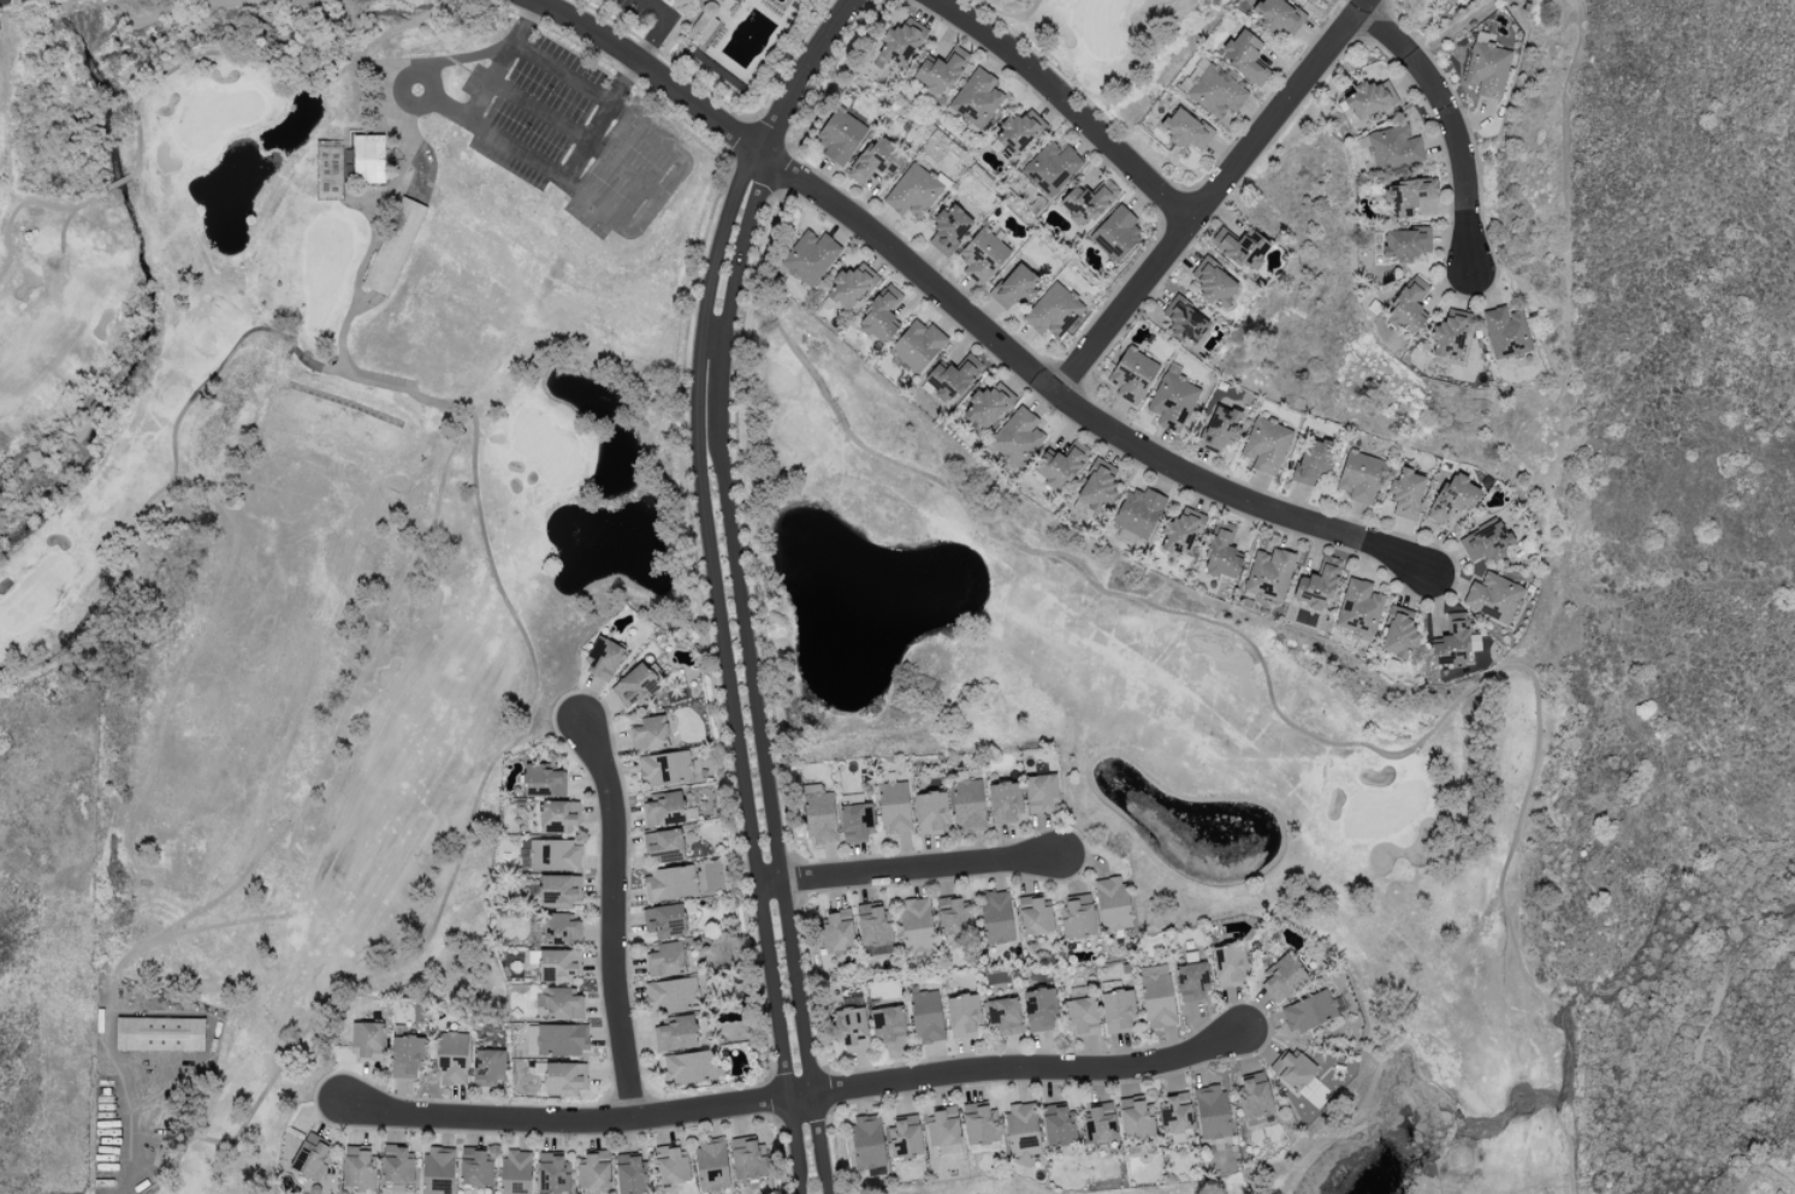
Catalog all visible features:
building: (1313, 0)
building: (1452, 0)
building: (1278, 16)
building: (703, 22)
road: (663, 26)
building: (901, 42)
park: (1192, 65)
building: (1486, 66)
road: (648, 69)
road: (800, 71)
building: (940, 71)
road: (559, 73)
road: (399, 90)
building: (1215, 91)
building: (976, 97)
building: (1368, 100)
road: (1068, 105)
road: (449, 108)
road: (540, 109)
road: (1455, 124)
road: (478, 127)
building: (1185, 130)
building: (1019, 131)
building: (840, 136)
road: (667, 137)
road: (409, 148)
building: (1394, 148)
building: (368, 159)
building: (875, 160)
building: (1050, 167)
building: (913, 191)
road: (1213, 196)
building: (1409, 196)
building: (1086, 202)
road: (651, 207)
building: (949, 228)
building: (1115, 231)
building: (1404, 244)
building: (393, 245)
building: (1240, 248)
building: (982, 255)
building: (810, 256)
building: (1214, 283)
building: (851, 285)
building: (1012, 286)
building: (1408, 308)
building: (1053, 310)
building: (879, 315)
building: (1184, 321)
building: (1506, 332)
building: (1449, 337)
building: (917, 345)
building: (1131, 375)
building: (950, 379)
building: (1172, 399)
road: (1072, 403)
building: (988, 405)
building: (1219, 428)
building: (1017, 438)
building: (1264, 445)
building: (1311, 461)
building: (1058, 467)
building: (1358, 476)
building: (1096, 487)
building: (1406, 493)
building: (1452, 498)
building: (1138, 511)
building: (1180, 531)
building: (1485, 542)
building: (1221, 554)
building: (1269, 574)
park: (602, 577)
building: (1317, 584)
building: (1493, 596)
building: (1358, 608)
building: (1398, 632)
building: (1451, 643)
building: (603, 658)
road: (724, 667)
road: (748, 671)
building: (634, 687)
building: (648, 733)
building: (664, 768)
building: (543, 780)
building: (1039, 792)
building: (1003, 803)
building: (967, 806)
building: (894, 807)
building: (664, 809)
building: (930, 812)
building: (558, 816)
building: (819, 818)
building: (855, 822)
building: (664, 845)
building: (553, 855)
road: (910, 869)
building: (669, 883)
building: (558, 890)
building: (1112, 903)
building: (1033, 915)
building: (953, 916)
building: (995, 917)
building: (1077, 917)
road: (615, 919)
building: (664, 920)
building: (872, 925)
building: (916, 925)
building: (836, 928)
building: (561, 929)
building: (665, 960)
building: (558, 964)
building: (1228, 964)
building: (1281, 978)
building: (1191, 981)
building: (671, 994)
building: (1157, 1000)
building: (562, 1004)
building: (1038, 1009)
building: (1118, 1010)
building: (1310, 1011)
building: (962, 1015)
building: (1003, 1015)
building: (925, 1016)
building: (1082, 1017)
building: (888, 1024)
building: (851, 1028)
building: (160, 1033)
building: (676, 1034)
building: (562, 1039)
building: (366, 1040)
building: (405, 1056)
building: (451, 1058)
building: (487, 1067)
building: (689, 1067)
building: (1292, 1069)
building: (564, 1077)
road: (794, 1092)
building: (1252, 1097)
building: (1212, 1111)
building: (1175, 1113)
building: (1135, 1118)
building: (978, 1122)
building: (1058, 1124)
building: (1100, 1124)
building: (942, 1128)
building: (1021, 1129)
building: (904, 1137)
road: (143, 1141)
building: (866, 1141)
building: (310, 1158)
building: (746, 1158)
building: (397, 1165)
building: (711, 1165)
building: (359, 1166)
building: (474, 1168)
building: (673, 1168)
building: (437, 1170)
building: (515, 1171)
building: (593, 1171)
building: (552, 1174)
building: (630, 1175)
park: (968, 1187)
park: (778, 1192)

